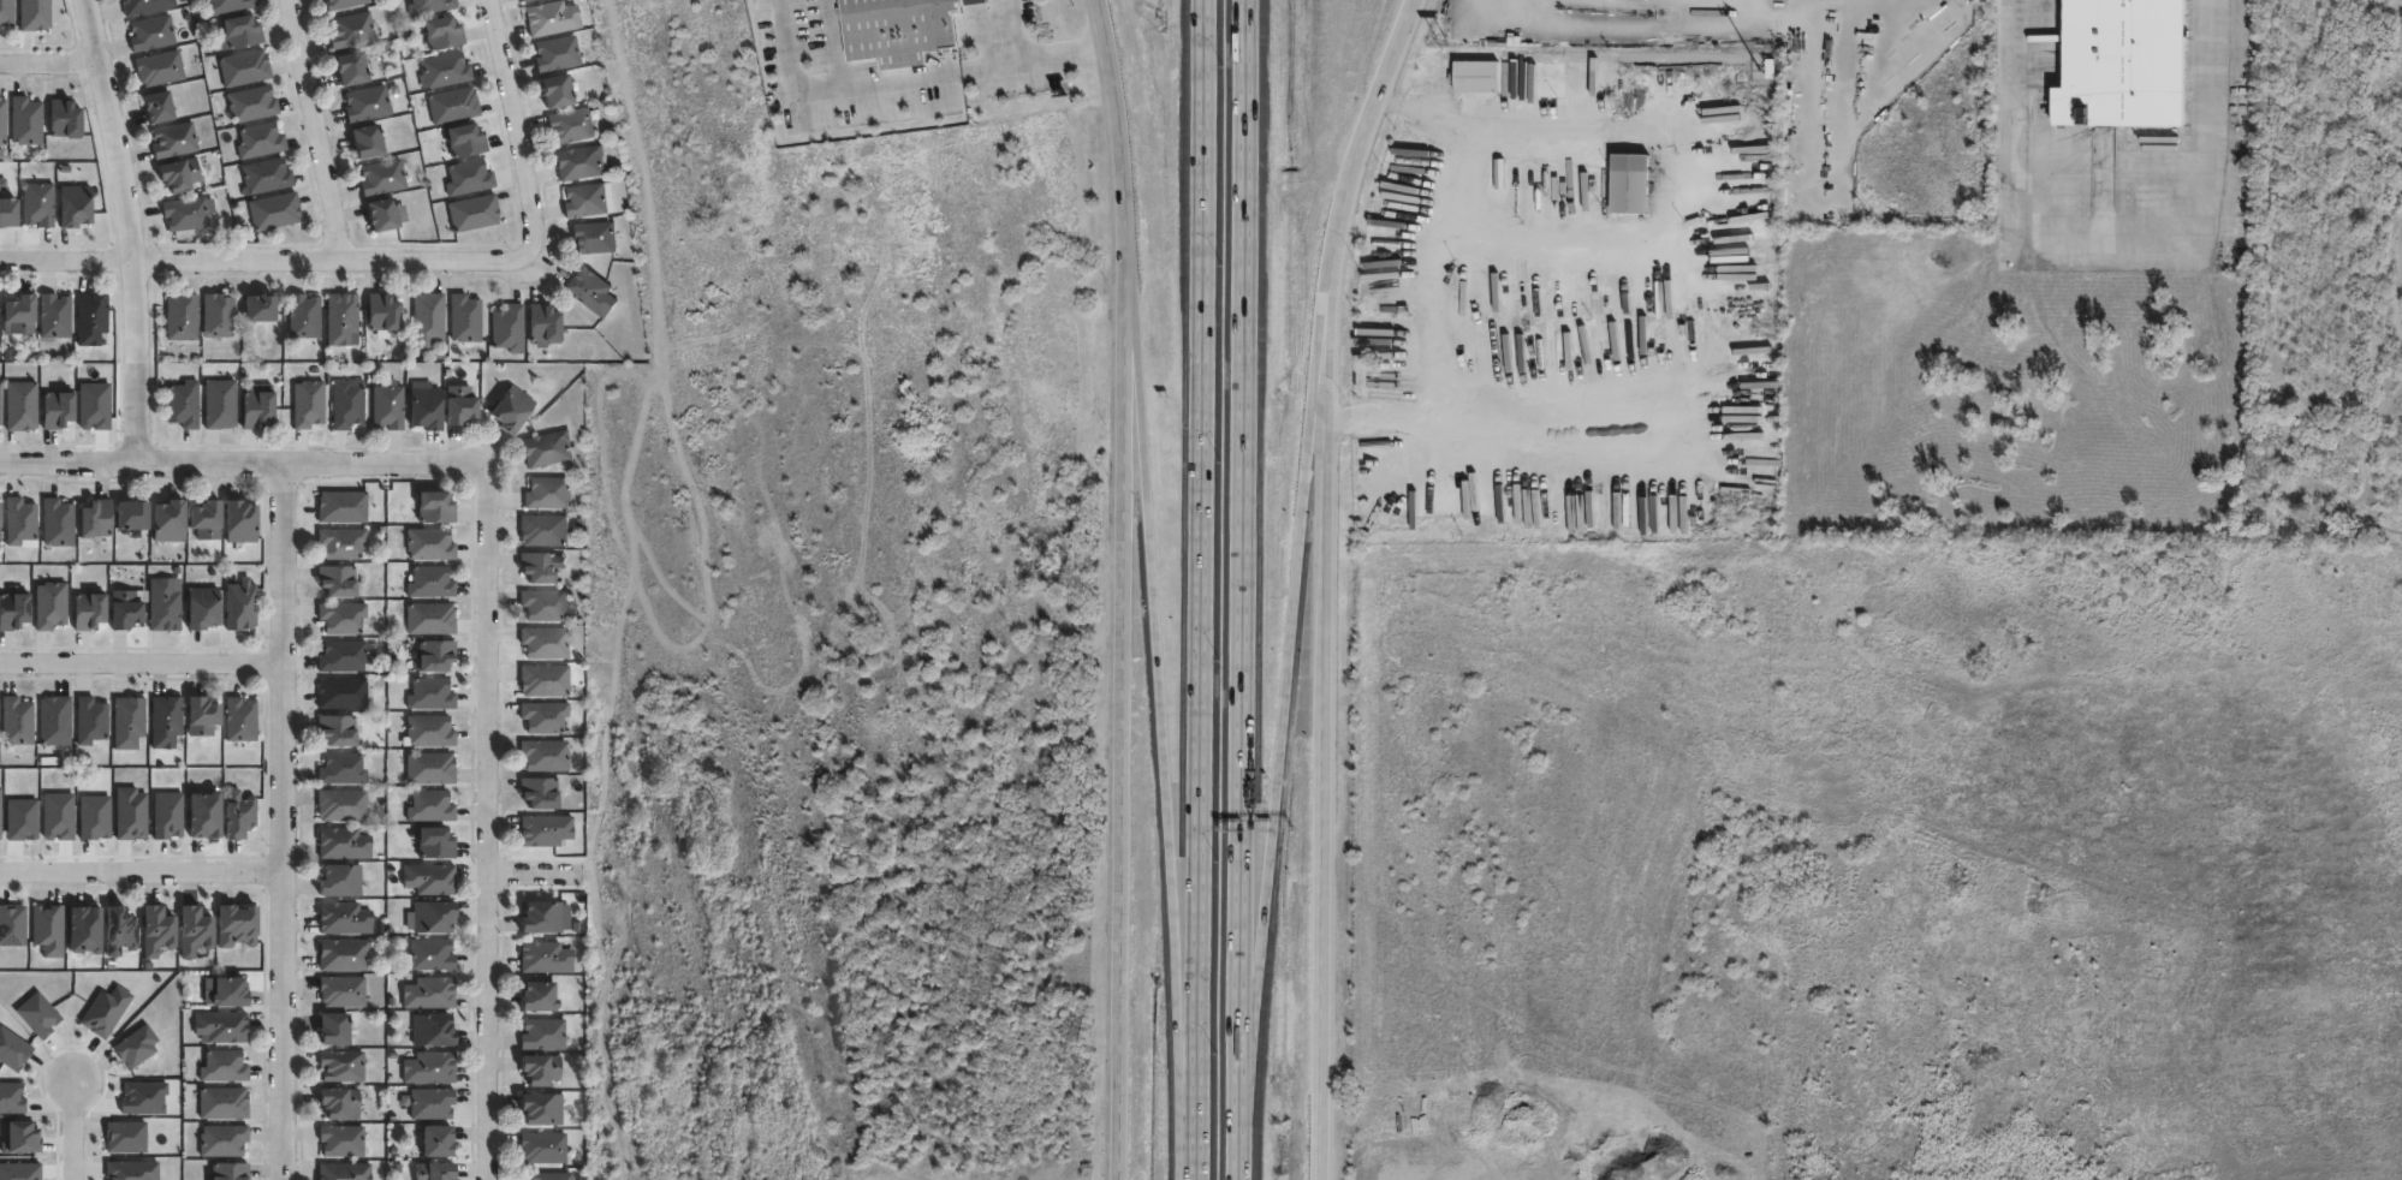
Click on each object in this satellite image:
building: (527, 0)
building: (345, 5)
building: (228, 6)
building: (147, 7)
building: (430, 7)
building: (6, 13)
building: (34, 16)
building: (553, 18)
building: (896, 29)
road: (1006, 29)
building: (352, 31)
building: (153, 34)
building: (239, 35)
building: (444, 35)
building: (558, 54)
road: (1054, 54)
building: (2119, 64)
road: (50, 66)
building: (244, 68)
building: (160, 70)
building: (353, 71)
building: (446, 71)
building: (559, 89)
road: (861, 89)
building: (1484, 89)
building: (252, 106)
building: (368, 106)
building: (454, 107)
building: (159, 109)
building: (66, 118)
building: (4, 121)
building: (26, 121)
building: (572, 125)
road: (513, 126)
road: (1530, 126)
road: (315, 130)
road: (1364, 131)
building: (260, 141)
building: (174, 142)
building: (465, 142)
building: (368, 143)
building: (582, 162)
building: (180, 177)
building: (266, 178)
building: (384, 179)
building: (470, 179)
building: (1628, 183)
building: (587, 201)
building: (38, 203)
building: (75, 205)
building: (7, 210)
building: (275, 213)
building: (188, 214)
building: (476, 214)
building: (387, 215)
road: (1457, 228)
road: (127, 230)
road: (2117, 233)
building: (596, 237)
road: (66, 261)
road: (331, 261)
building: (593, 290)
building: (260, 308)
building: (20, 314)
building: (219, 315)
building: (384, 315)
building: (304, 316)
building: (182, 317)
building: (429, 317)
building: (54, 318)
building: (91, 318)
building: (343, 318)
building: (465, 318)
building: (546, 324)
building: (510, 328)
building: (0, 404)
building: (184, 404)
building: (220, 404)
building: (309, 404)
building: (347, 404)
road: (1553, 404)
building: (462, 405)
building: (20, 406)
building: (388, 407)
building: (57, 409)
building: (258, 409)
building: (427, 409)
building: (513, 409)
building: (90, 410)
road: (1330, 437)
building: (549, 448)
road: (243, 464)
building: (549, 493)
building: (343, 507)
building: (436, 507)
building: (132, 514)
building: (0, 518)
building: (96, 518)
building: (207, 519)
building: (19, 520)
building: (170, 522)
building: (242, 522)
building: (58, 523)
building: (547, 531)
building: (343, 543)
building: (430, 544)
road: (1244, 565)
building: (541, 567)
building: (338, 582)
building: (432, 583)
road: (1118, 588)
road: (1197, 590)
building: (50, 606)
building: (163, 606)
building: (242, 606)
building: (547, 606)
building: (203, 608)
building: (125, 610)
building: (13, 612)
building: (89, 612)
building: (343, 618)
building: (430, 619)
building: (546, 643)
building: (435, 656)
building: (343, 657)
road: (141, 661)
road: (1328, 662)
building: (546, 681)
building: (343, 695)
building: (432, 695)
road: (1282, 699)
building: (203, 717)
building: (545, 717)
building: (91, 720)
building: (242, 720)
building: (55, 721)
building: (17, 722)
building: (129, 722)
building: (166, 722)
building: (338, 731)
building: (429, 732)
road: (1161, 734)
building: (546, 756)
building: (430, 768)
building: (343, 770)
building: (541, 793)
building: (343, 805)
building: (432, 807)
building: (0, 810)
building: (132, 815)
building: (239, 815)
building: (168, 816)
building: (206, 816)
building: (52, 820)
building: (18, 821)
building: (90, 821)
road: (487, 821)
road: (281, 822)
building: (546, 830)
building: (435, 844)
building: (344, 845)
road: (141, 870)
road: (534, 876)
building: (430, 880)
building: (341, 882)
building: (433, 918)
building: (543, 918)
building: (344, 919)
building: (238, 926)
building: (10, 929)
building: (49, 929)
building: (157, 931)
building: (85, 932)
building: (120, 932)
building: (195, 932)
road: (1325, 948)
building: (344, 955)
building: (430, 956)
building: (546, 959)
building: (343, 993)
building: (231, 994)
building: (430, 994)
building: (540, 999)
building: (101, 1014)
building: (35, 1019)
building: (222, 1027)
building: (335, 1031)
building: (434, 1032)
building: (545, 1035)
building: (132, 1049)
building: (10, 1054)
building: (224, 1067)
building: (343, 1067)
building: (430, 1069)
building: (543, 1071)
building: (8, 1098)
building: (138, 1101)
building: (340, 1103)
building: (224, 1104)
building: (433, 1104)
building: (545, 1110)
road: (71, 1130)
building: (16, 1142)
building: (120, 1142)
building: (225, 1142)
building: (343, 1142)
building: (439, 1142)
building: (545, 1148)
road: (1237, 1155)
building: (230, 1170)
building: (345, 1170)
building: (436, 1170)
building: (126, 1172)
building: (17, 1174)
building: (552, 1175)

